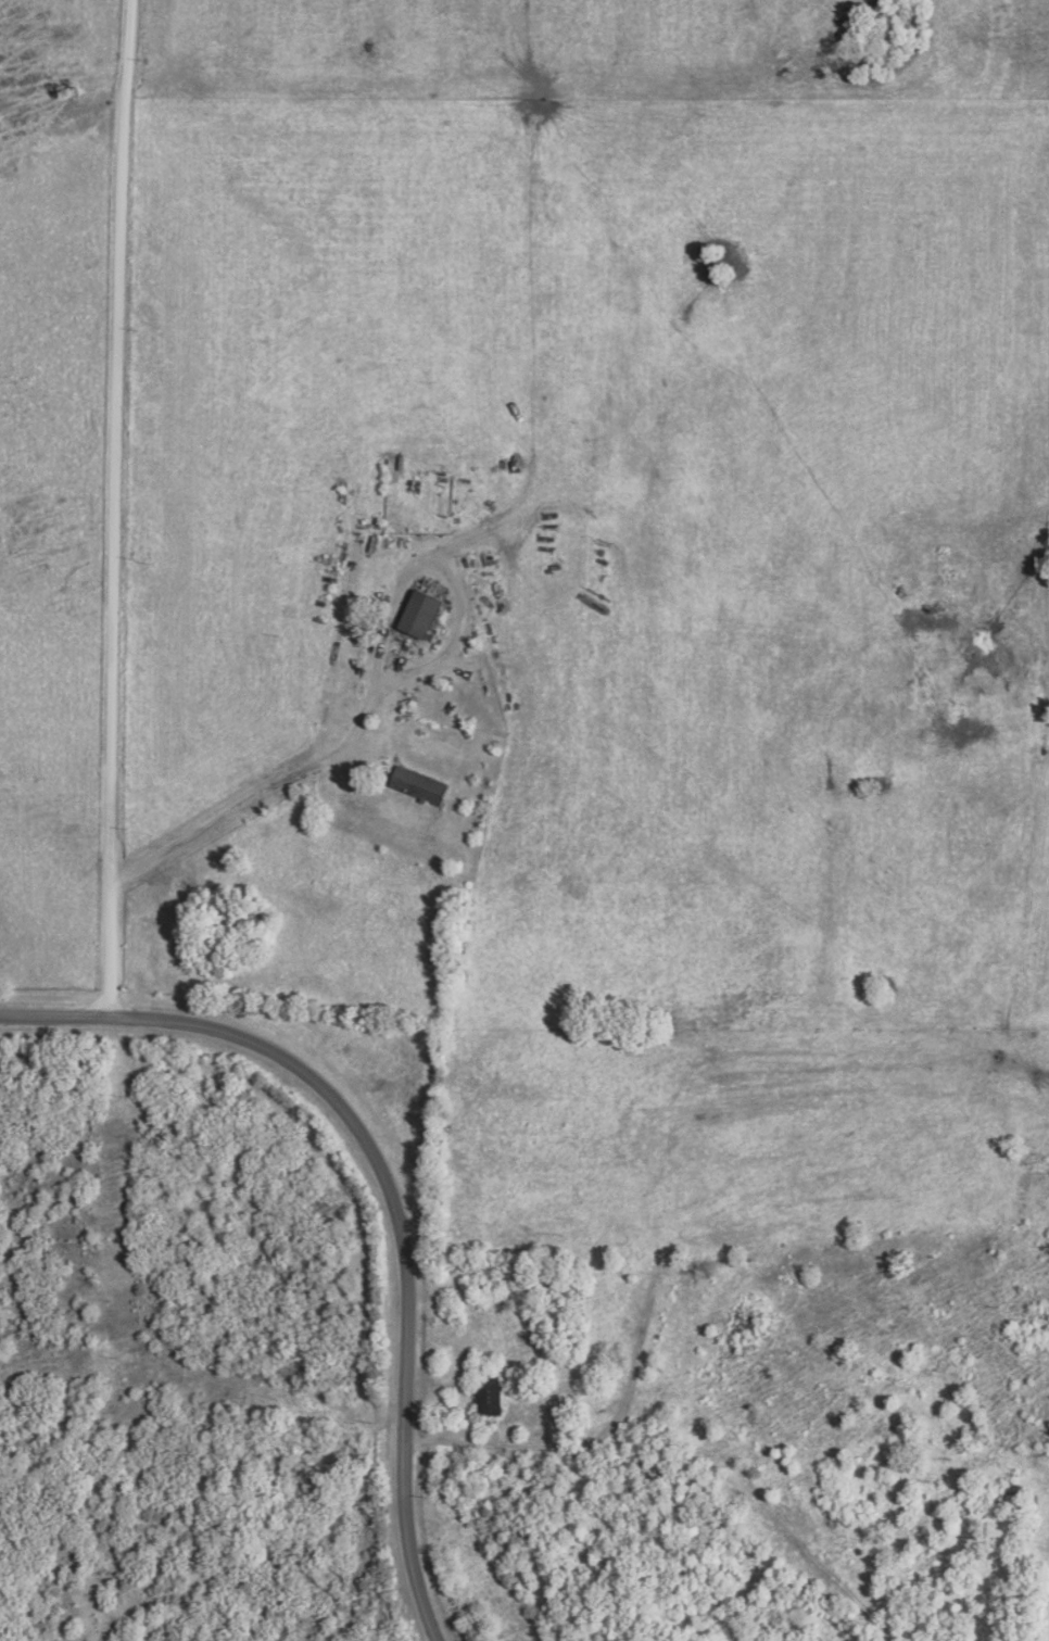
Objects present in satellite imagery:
road: (116, 508)
road: (405, 577)
building: (421, 616)
building: (419, 786)
road: (256, 791)
road: (390, 1185)
building: (490, 1399)
road: (485, 1448)

